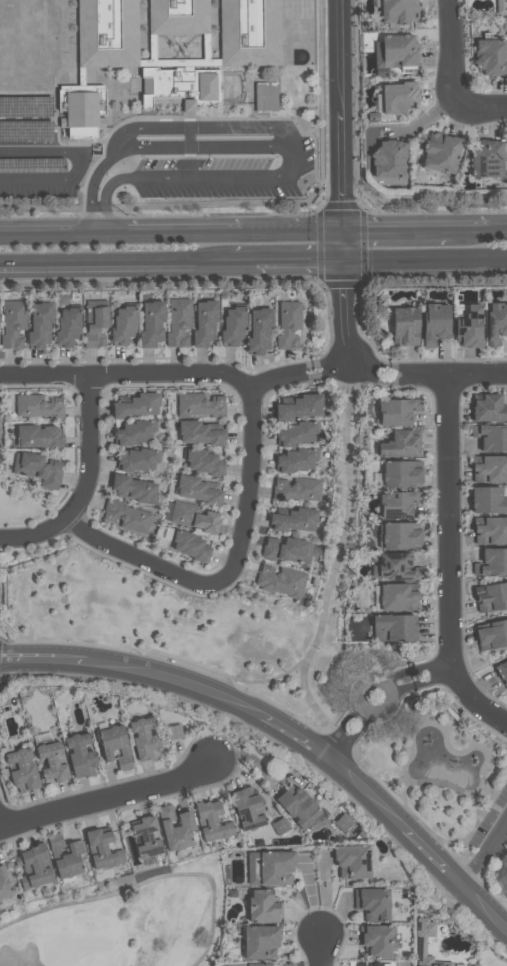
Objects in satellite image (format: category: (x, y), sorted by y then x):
building: (500, 6)
building: (398, 11)
building: (178, 16)
building: (249, 32)
building: (107, 33)
building: (400, 50)
road: (452, 52)
building: (490, 56)
building: (206, 87)
building: (265, 97)
building: (399, 98)
road: (484, 107)
building: (80, 109)
road: (340, 129)
road: (280, 134)
road: (200, 146)
building: (441, 153)
building: (488, 158)
building: (389, 159)
road: (78, 163)
road: (97, 219)
road: (472, 226)
road: (499, 226)
road: (398, 227)
road: (171, 228)
traffic signals: (343, 249)
road: (300, 258)
road: (425, 258)
road: (243, 259)
road: (115, 260)
road: (347, 313)
building: (496, 322)
building: (95, 323)
building: (178, 323)
building: (204, 323)
building: (435, 323)
building: (13, 324)
building: (151, 324)
building: (39, 325)
building: (122, 325)
building: (287, 325)
building: (232, 326)
building: (66, 327)
building: (404, 327)
building: (469, 327)
building: (259, 331)
road: (350, 369)
road: (447, 371)
road: (156, 373)
building: (199, 405)
building: (39, 406)
building: (136, 406)
building: (299, 408)
building: (487, 408)
building: (396, 411)
building: (135, 432)
building: (199, 434)
building: (297, 434)
building: (39, 436)
building: (491, 437)
building: (0, 444)
building: (399, 445)
road: (88, 450)
building: (137, 460)
building: (295, 460)
building: (203, 462)
building: (37, 469)
building: (490, 469)
road: (253, 470)
building: (401, 474)
building: (134, 489)
building: (296, 489)
building: (197, 491)
building: (488, 500)
building: (399, 503)
park: (26, 507)
building: (127, 516)
building: (193, 517)
building: (294, 520)
building: (490, 530)
building: (401, 535)
building: (189, 545)
road: (119, 550)
building: (286, 550)
road: (445, 560)
road: (338, 563)
building: (492, 563)
building: (395, 567)
building: (280, 581)
building: (397, 598)
building: (490, 598)
building: (395, 627)
building: (492, 636)
road: (428, 665)
building: (502, 672)
road: (397, 673)
road: (374, 677)
road: (437, 678)
park: (280, 681)
road: (248, 682)
road: (406, 687)
road: (285, 728)
road: (341, 728)
building: (173, 732)
building: (144, 739)
road: (354, 739)
building: (115, 746)
building: (80, 756)
building: (52, 763)
building: (22, 771)
road: (111, 797)
building: (297, 807)
building: (247, 808)
building: (212, 821)
building: (344, 821)
road: (1, 823)
building: (280, 826)
building: (175, 829)
building: (147, 837)
building: (102, 849)
road: (485, 853)
building: (65, 856)
building: (352, 861)
building: (33, 868)
building: (275, 868)
building: (4, 886)
building: (372, 904)
building: (263, 907)
park: (125, 920)
building: (424, 940)
building: (377, 941)
building: (260, 942)
road: (321, 951)
building: (258, 964)
building: (371, 964)

